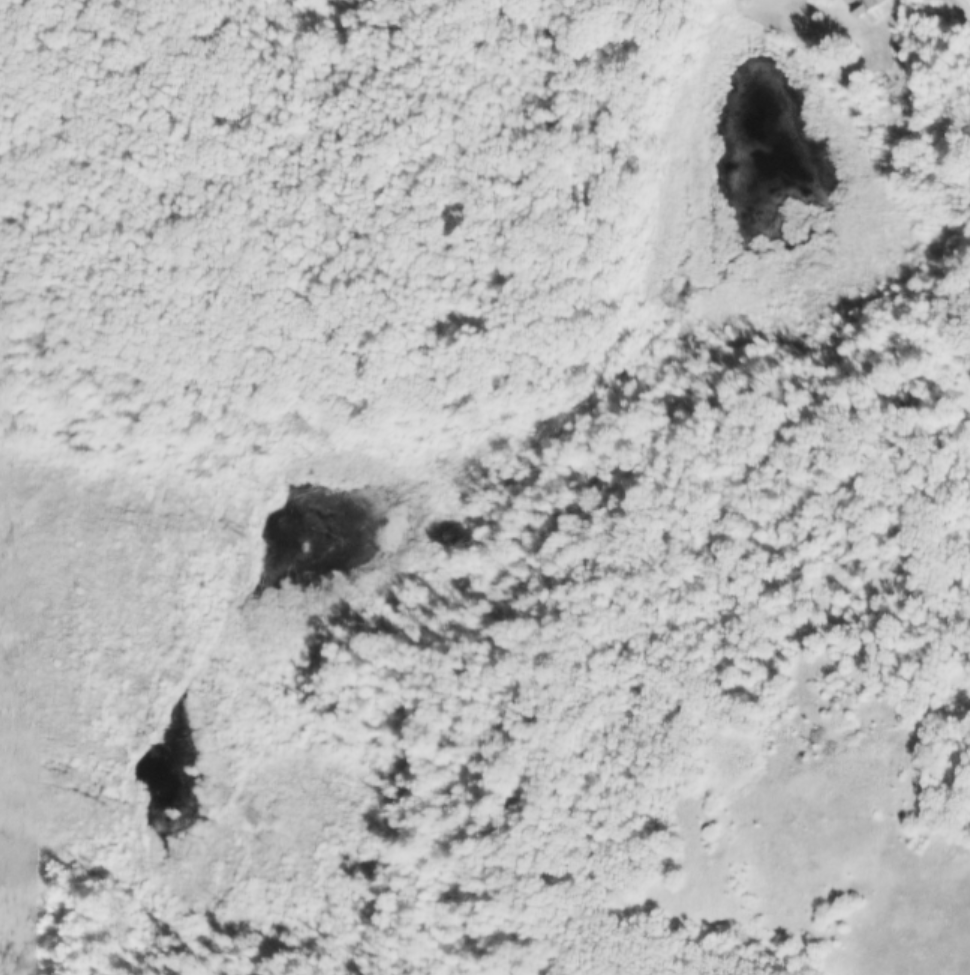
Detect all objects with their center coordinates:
building: (869, 8)

